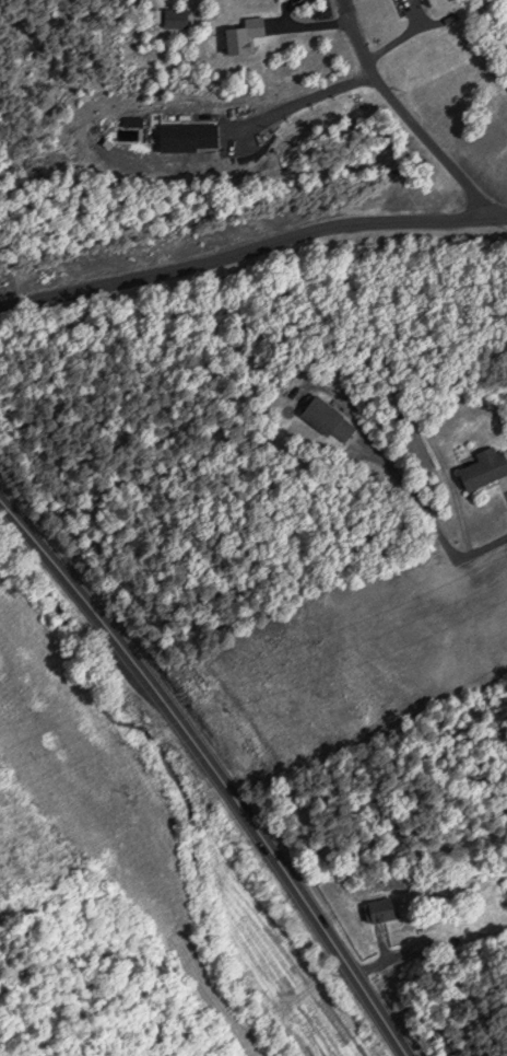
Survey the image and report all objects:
building: (234, 35)
road: (403, 113)
road: (251, 247)
building: (323, 417)
building: (416, 450)
building: (479, 465)
road: (412, 492)
road: (452, 496)
road: (479, 544)
road: (87, 603)
road: (287, 885)
building: (378, 903)
road: (366, 964)

